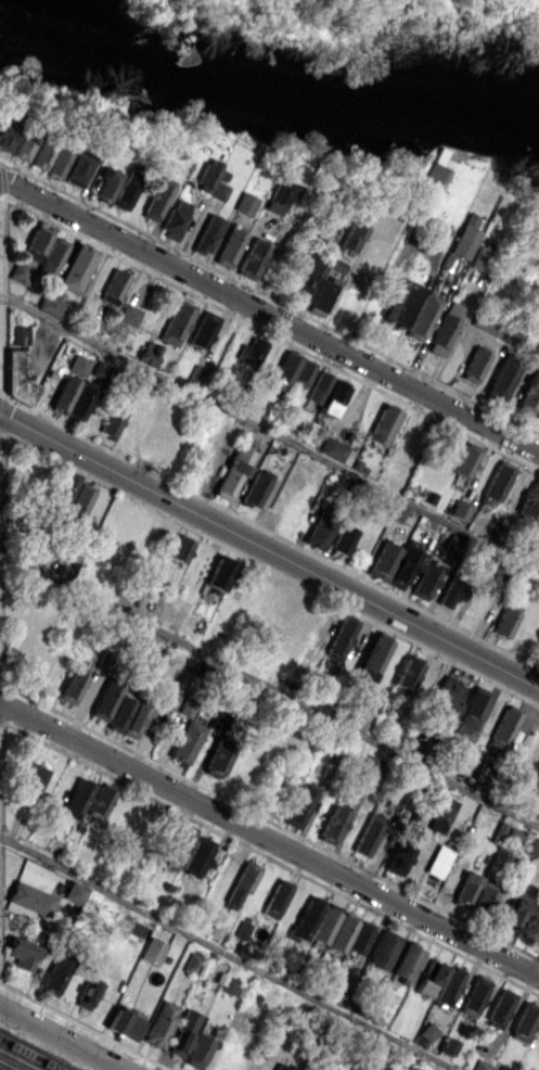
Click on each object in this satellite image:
river: (267, 88)
building: (8, 131)
building: (23, 143)
building: (40, 156)
building: (56, 162)
building: (76, 168)
building: (206, 174)
building: (106, 183)
building: (126, 189)
building: (218, 190)
building: (280, 195)
building: (156, 198)
building: (245, 203)
building: (175, 219)
building: (206, 233)
building: (464, 237)
building: (349, 239)
building: (35, 243)
building: (229, 245)
building: (52, 256)
building: (480, 257)
building: (251, 258)
building: (76, 270)
building: (20, 272)
building: (304, 276)
building: (113, 286)
building: (50, 304)
building: (400, 304)
building: (127, 314)
road: (269, 315)
building: (422, 317)
building: (174, 324)
building: (486, 324)
building: (444, 328)
building: (202, 330)
building: (17, 334)
building: (249, 352)
building: (147, 353)
building: (77, 364)
building: (473, 365)
building: (283, 370)
building: (301, 372)
building: (502, 374)
building: (15, 375)
building: (316, 386)
building: (63, 394)
building: (528, 395)
building: (331, 398)
building: (80, 403)
building: (536, 411)
building: (114, 418)
building: (382, 424)
road: (269, 432)
building: (332, 448)
building: (465, 460)
building: (233, 471)
building: (496, 481)
building: (64, 487)
building: (254, 489)
building: (78, 501)
building: (529, 501)
building: (459, 509)
building: (396, 512)
building: (476, 525)
building: (318, 532)
building: (343, 539)
building: (178, 548)
road: (269, 549)
building: (382, 560)
building: (405, 565)
building: (218, 572)
building: (424, 582)
building: (451, 591)
building: (503, 622)
building: (339, 638)
building: (537, 652)
building: (373, 653)
building: (405, 674)
building: (72, 684)
road: (270, 686)
building: (447, 696)
building: (166, 698)
building: (104, 701)
building: (185, 705)
building: (470, 710)
building: (119, 713)
building: (134, 721)
building: (503, 725)
building: (185, 741)
building: (410, 749)
building: (218, 755)
building: (368, 767)
building: (34, 777)
building: (77, 799)
building: (100, 801)
building: (299, 805)
building: (537, 813)
building: (440, 814)
building: (332, 824)
building: (413, 826)
building: (367, 835)
building: (512, 836)
road: (269, 839)
building: (178, 843)
building: (529, 844)
building: (441, 854)
building: (197, 856)
building: (397, 858)
building: (240, 886)
building: (464, 888)
building: (538, 891)
building: (74, 893)
building: (483, 896)
building: (30, 897)
building: (275, 897)
building: (516, 905)
building: (306, 918)
building: (324, 922)
building: (216, 928)
building: (242, 929)
building: (349, 934)
building: (383, 948)
building: (152, 951)
building: (22, 953)
road: (226, 954)
building: (192, 963)
building: (407, 963)
building: (55, 973)
building: (429, 979)
building: (227, 984)
building: (448, 985)
building: (87, 994)
building: (474, 996)
building: (499, 1008)
building: (524, 1020)
building: (124, 1023)
building: (159, 1023)
building: (427, 1031)
building: (184, 1033)
road: (57, 1040)
building: (447, 1046)
building: (197, 1050)
railway: (26, 1056)
railway: (16, 1061)
building: (362, 1065)
building: (482, 1065)
railway: (4, 1067)
building: (282, 1067)
building: (380, 1067)
building: (503, 1068)

